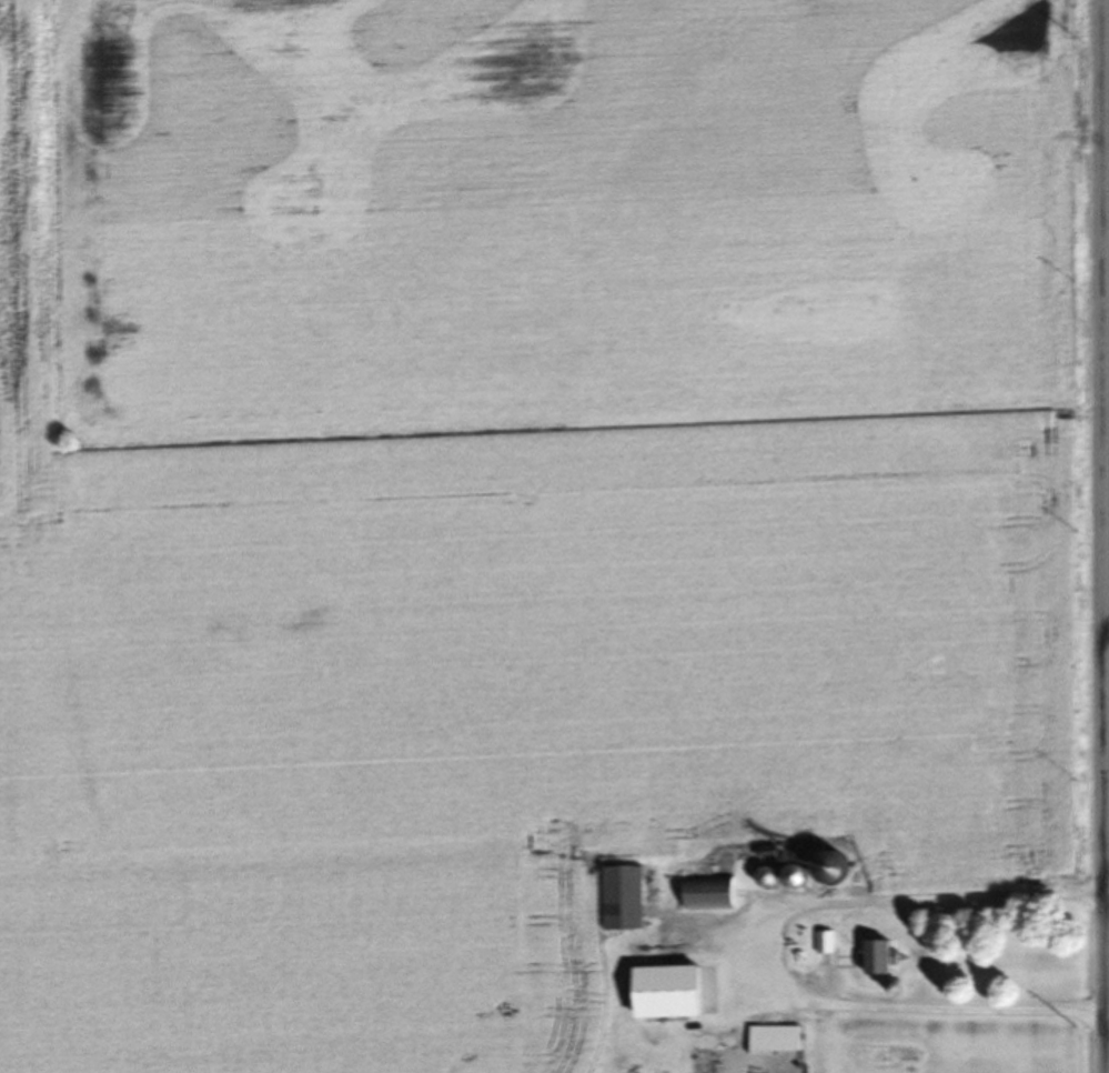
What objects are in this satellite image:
road: (1097, 536)
road: (1103, 615)
building: (846, 869)
building: (716, 897)
building: (631, 901)
building: (830, 945)
road: (769, 955)
building: (889, 960)
building: (782, 1042)

